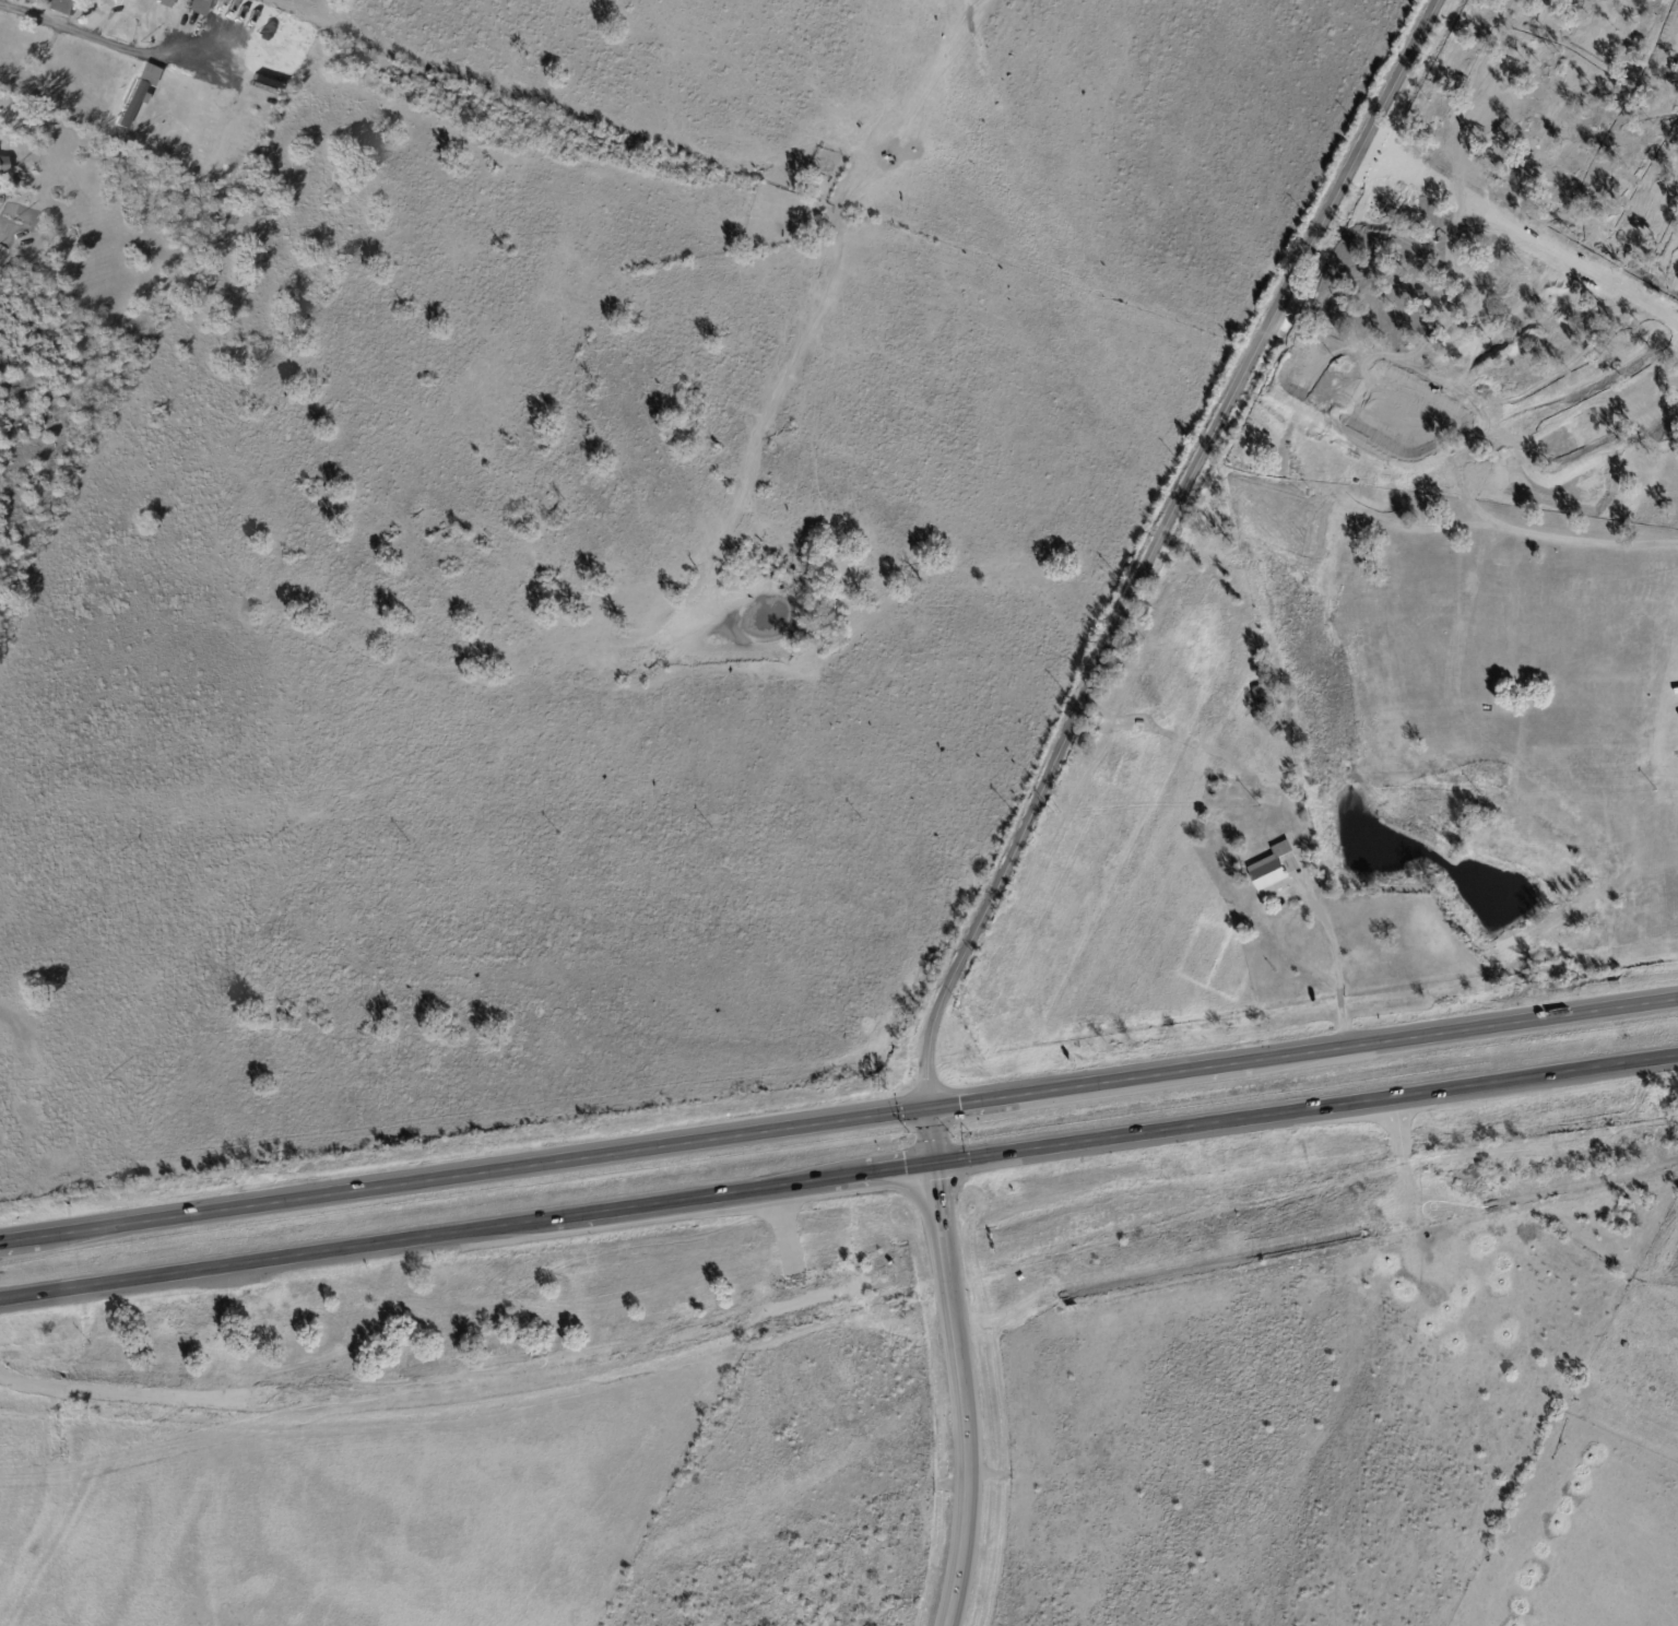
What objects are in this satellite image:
road: (0, 1)
building: (211, 4)
building: (56, 5)
building: (186, 5)
building: (245, 17)
building: (214, 33)
road: (110, 44)
building: (3, 165)
building: (15, 181)
building: (1444, 307)
building: (1450, 314)
building: (1371, 320)
building: (1392, 380)
building: (1405, 387)
building: (1234, 455)
road: (1154, 544)
building: (1268, 702)
building: (1277, 730)
building: (1219, 832)
building: (1277, 870)
road: (1336, 976)
traffic signals: (927, 1111)
road: (1305, 1111)
road: (839, 1123)
road: (931, 1140)
traffic signals: (934, 1168)
road: (466, 1235)
road: (966, 1397)

